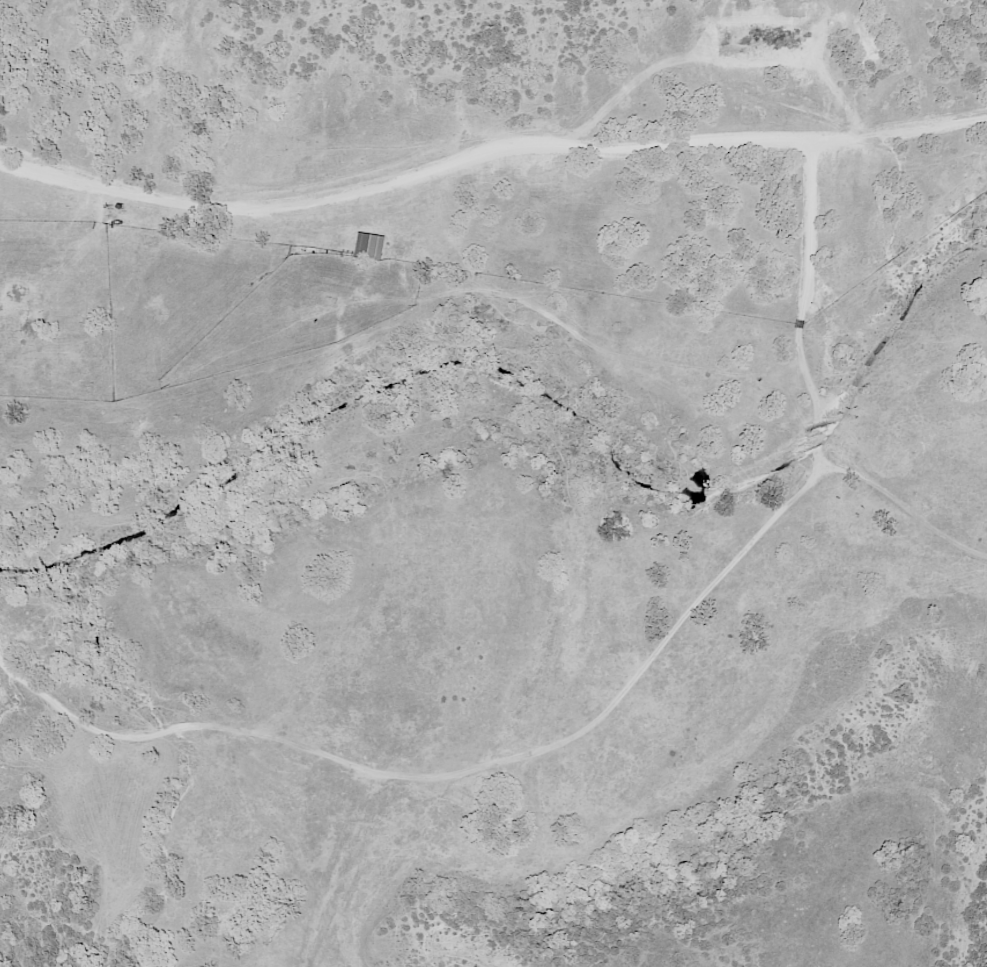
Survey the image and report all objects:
road: (479, 143)
building: (369, 247)
road: (603, 745)
road: (340, 871)

